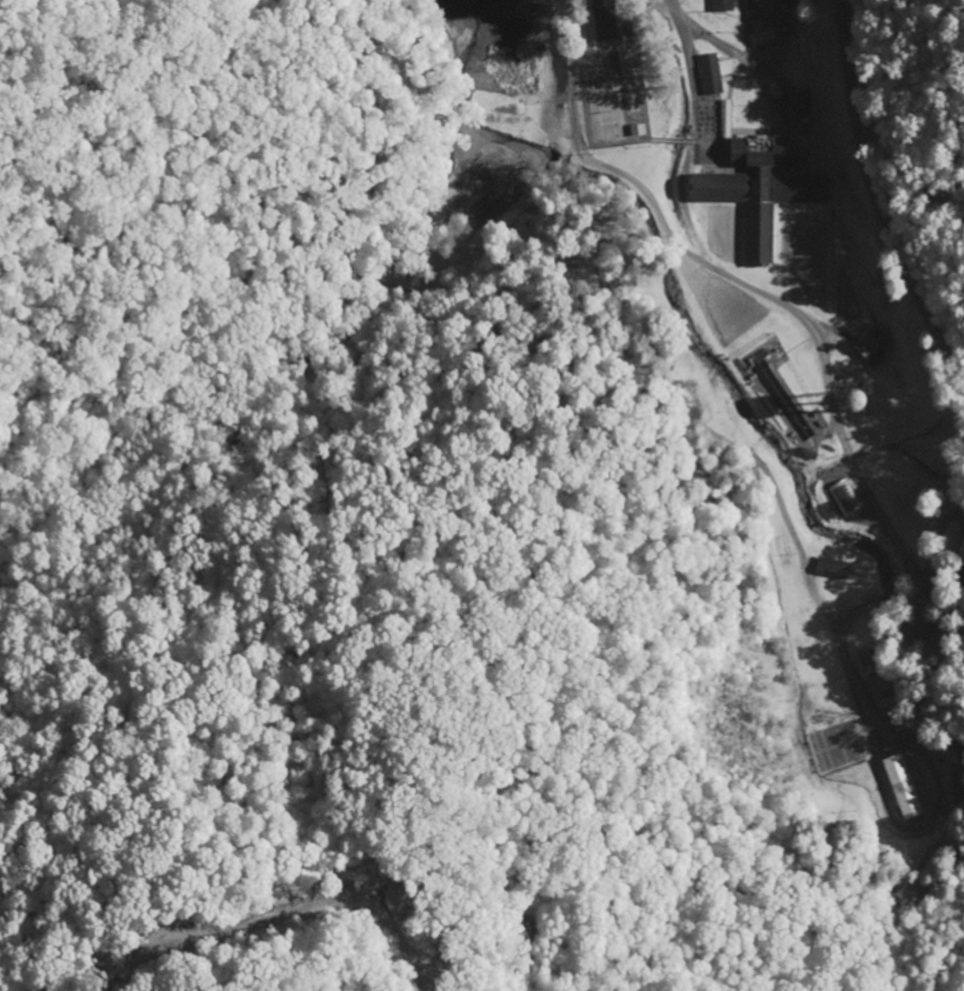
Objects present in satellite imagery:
building: (723, 5)
building: (767, 12)
building: (711, 73)
building: (758, 187)
road: (914, 296)
building: (868, 347)
building: (867, 397)
water tower: (847, 400)
building: (845, 497)
building: (833, 567)
road: (942, 621)
building: (904, 786)

